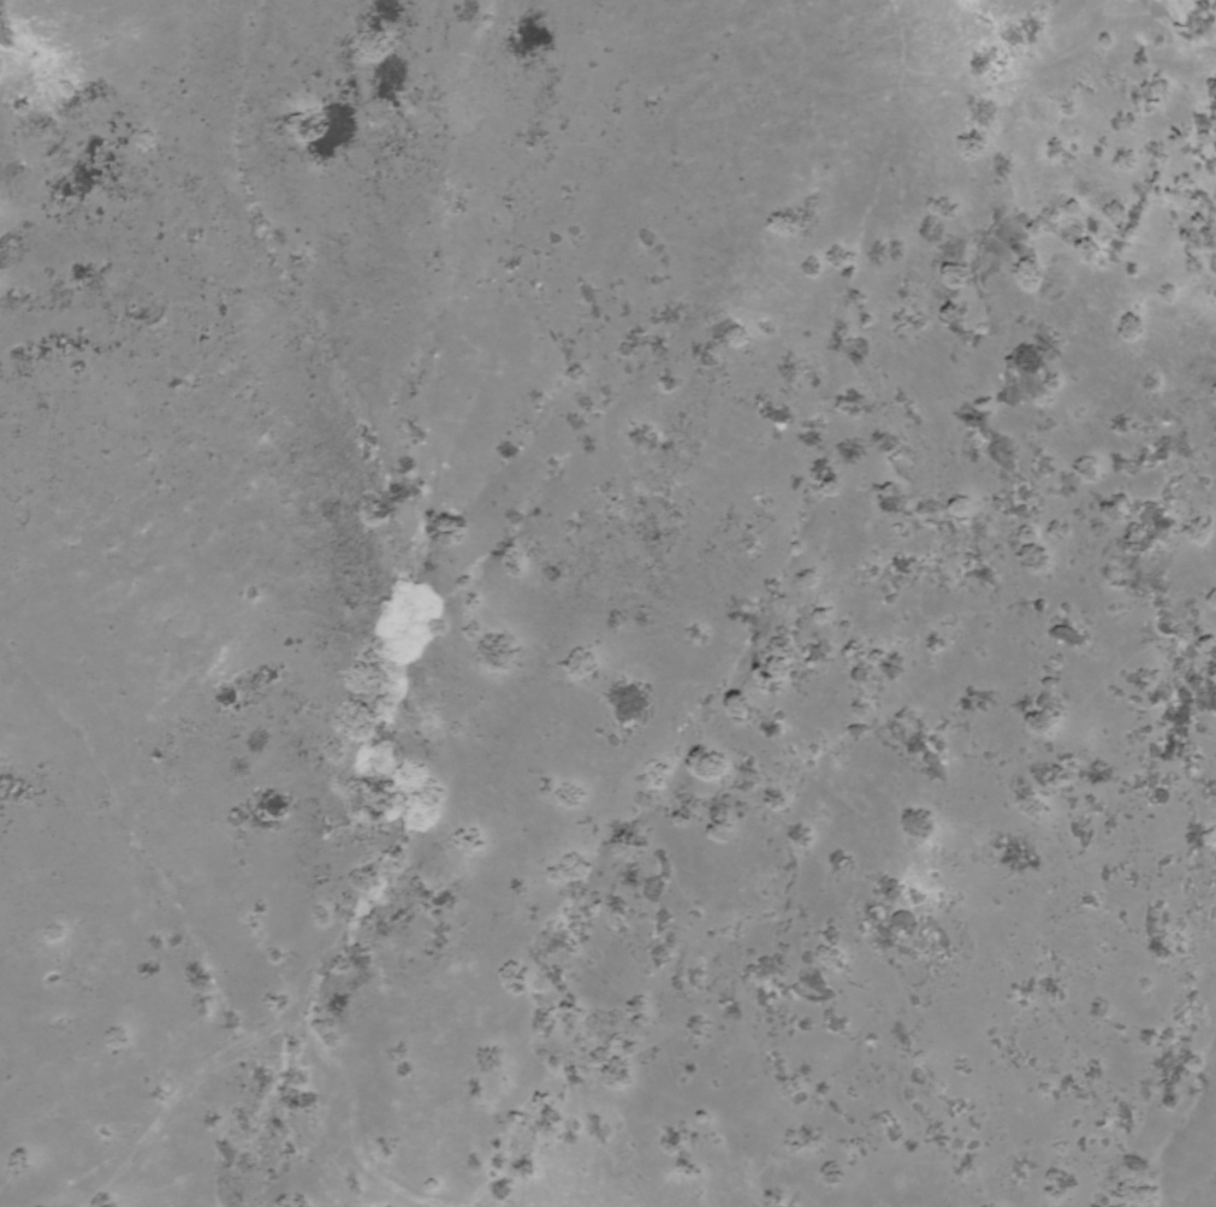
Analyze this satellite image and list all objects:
road: (287, 1028)

